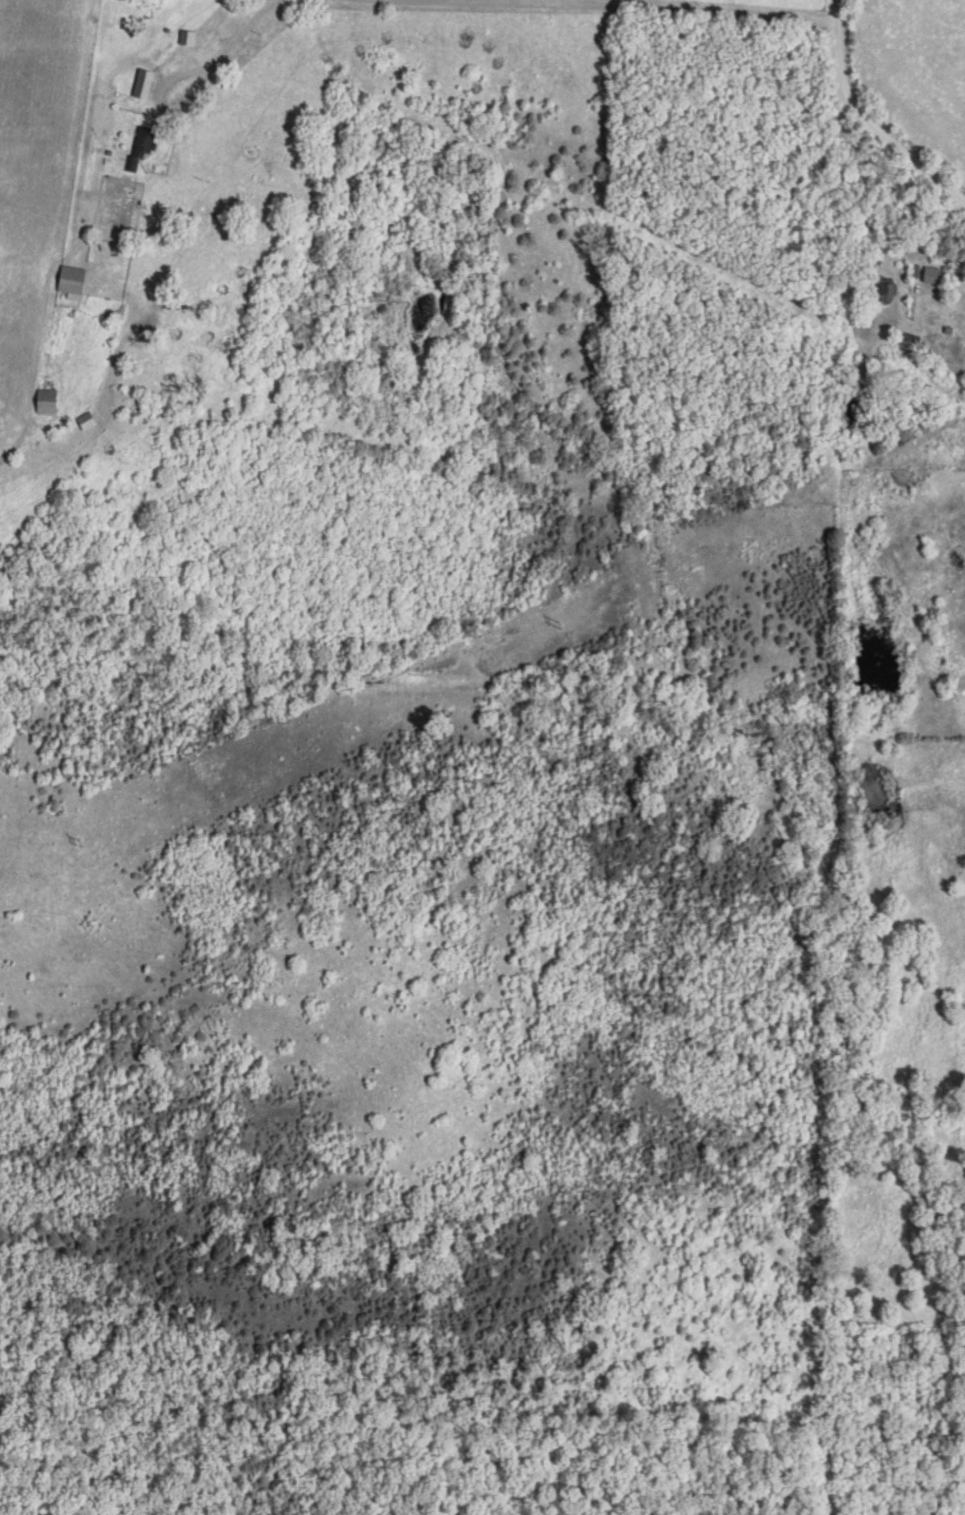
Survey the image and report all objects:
building: (191, 39)
building: (144, 84)
road: (858, 126)
building: (73, 283)
building: (47, 402)

